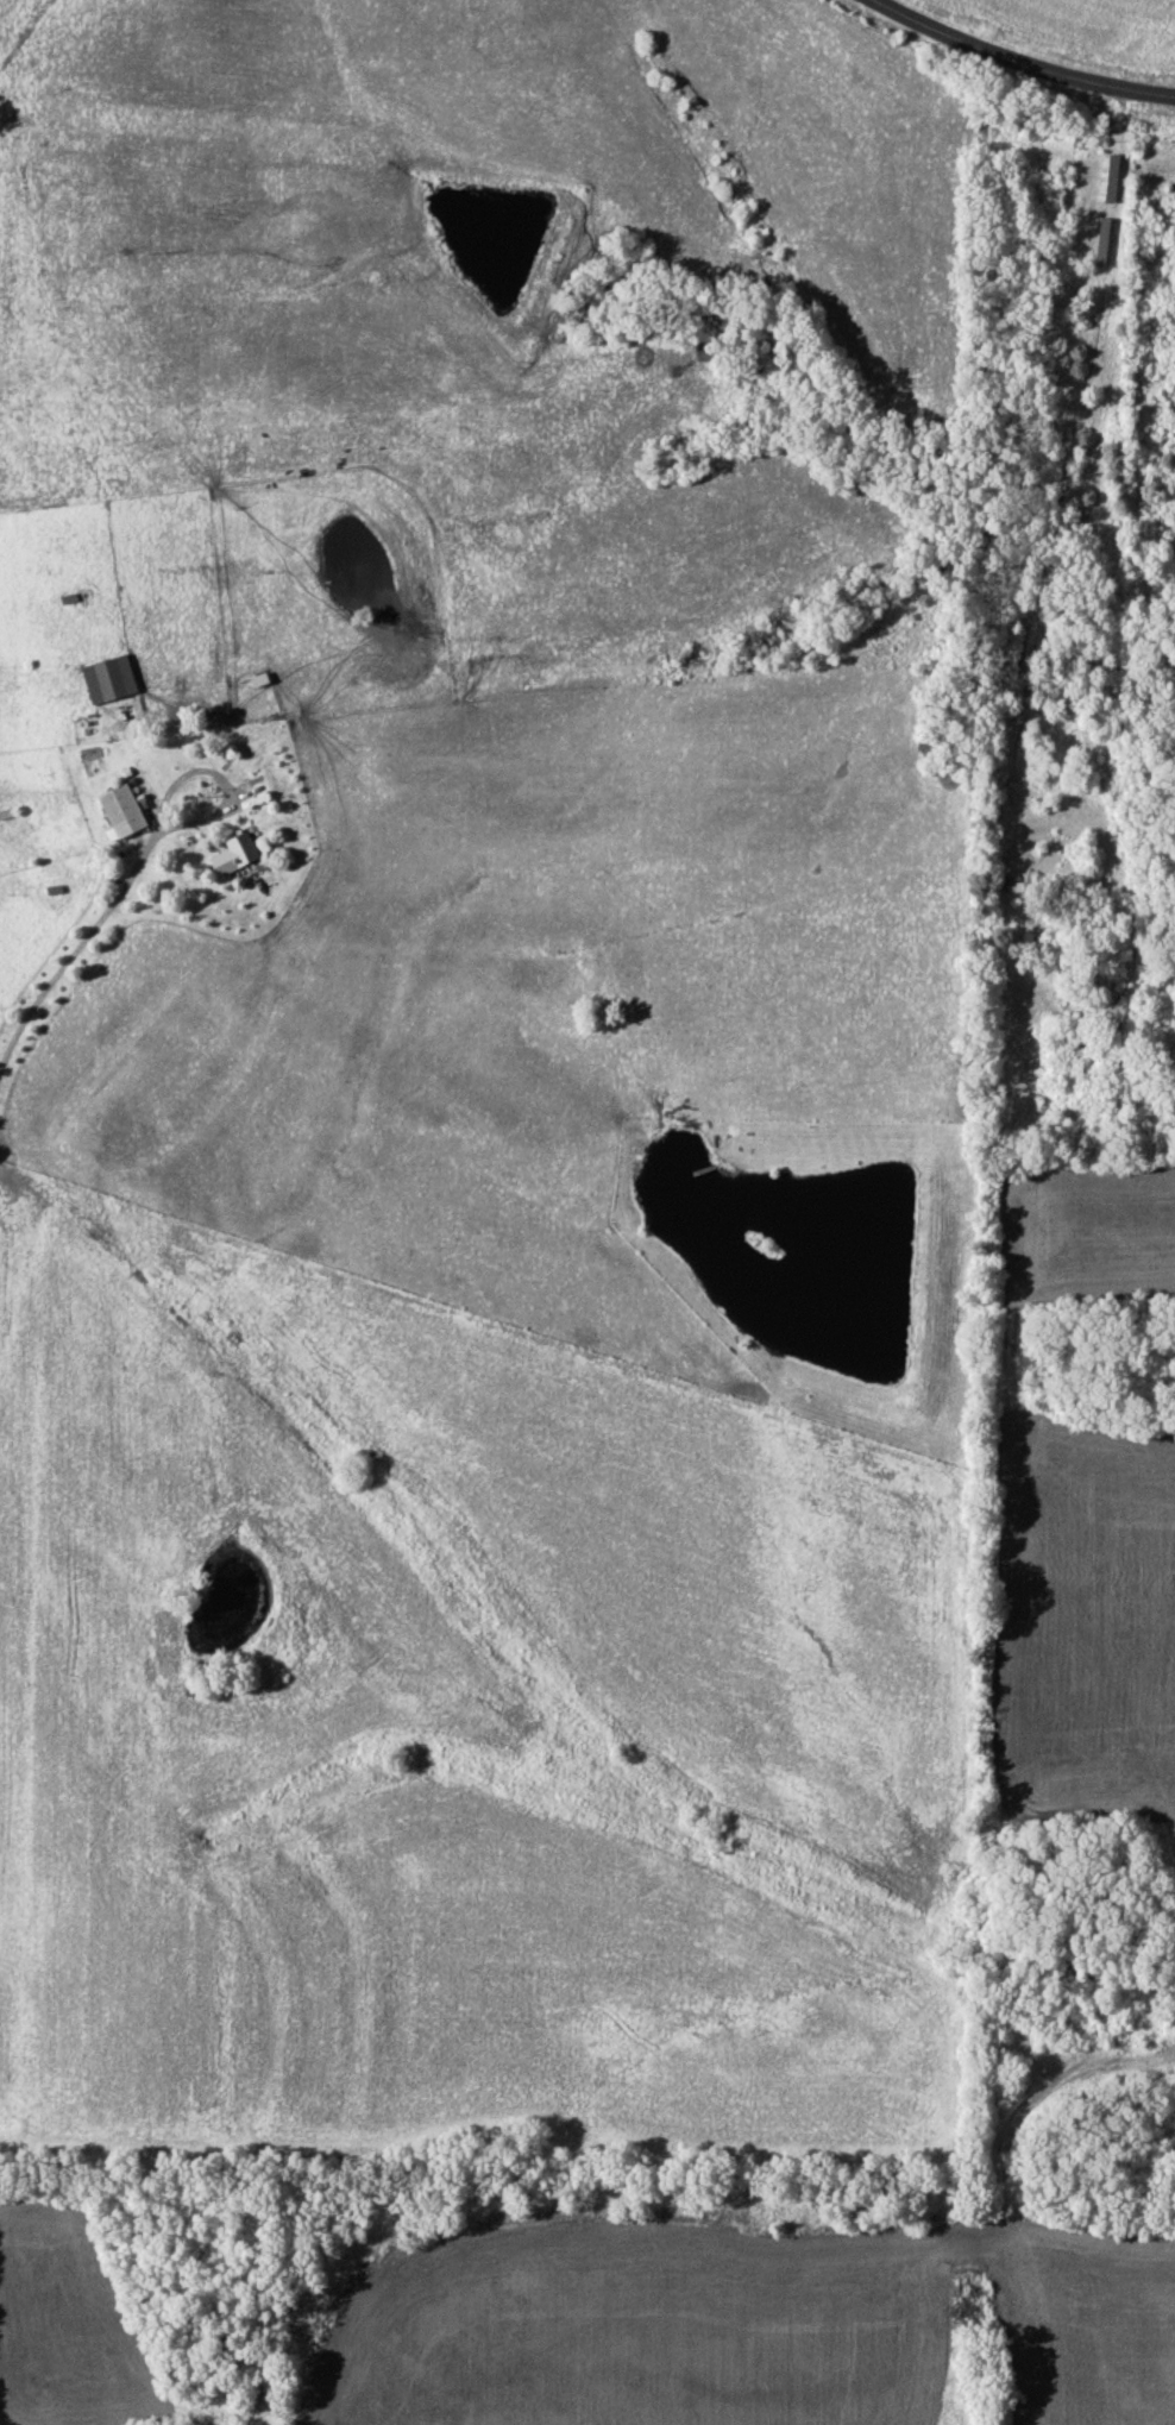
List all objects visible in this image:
road: (1022, 59)
building: (108, 679)
building: (257, 680)
road: (218, 779)
building: (121, 812)
building: (232, 856)
road: (75, 948)
building: (1118, 1060)

